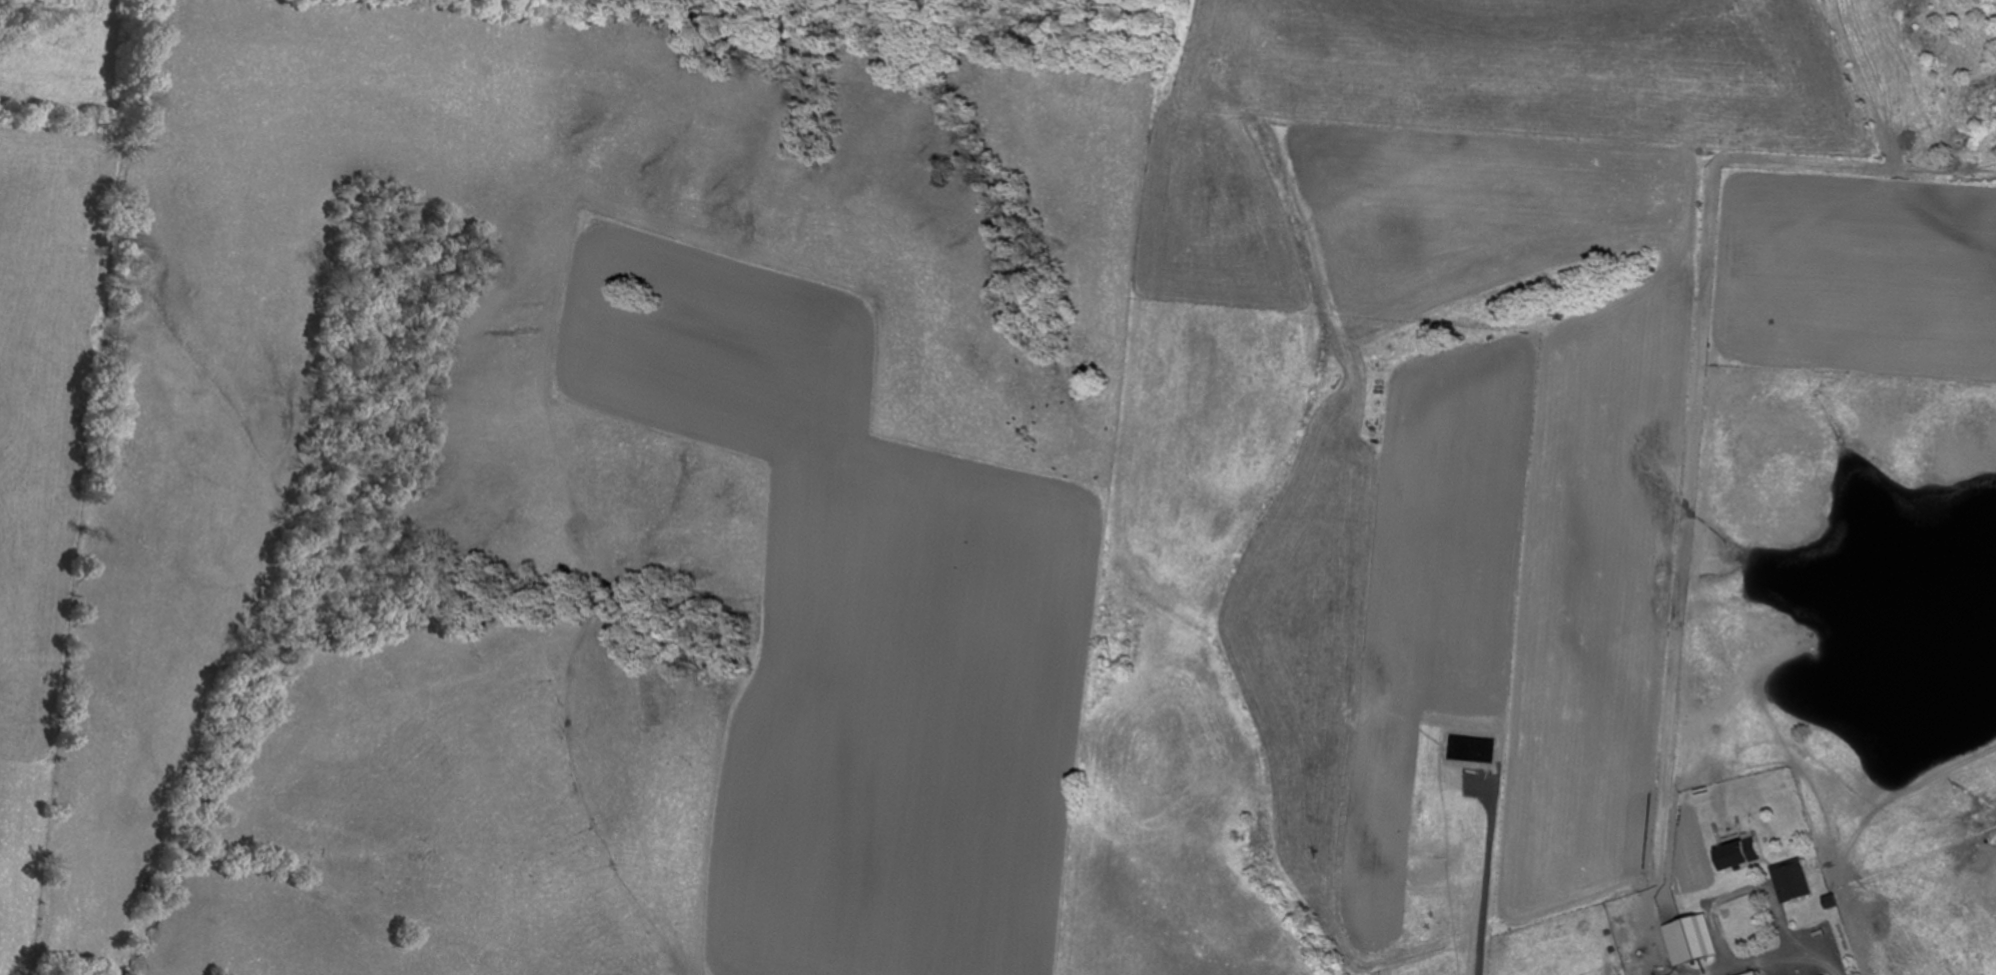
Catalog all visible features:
building: (1791, 880)
building: (1689, 939)
building: (1750, 973)

